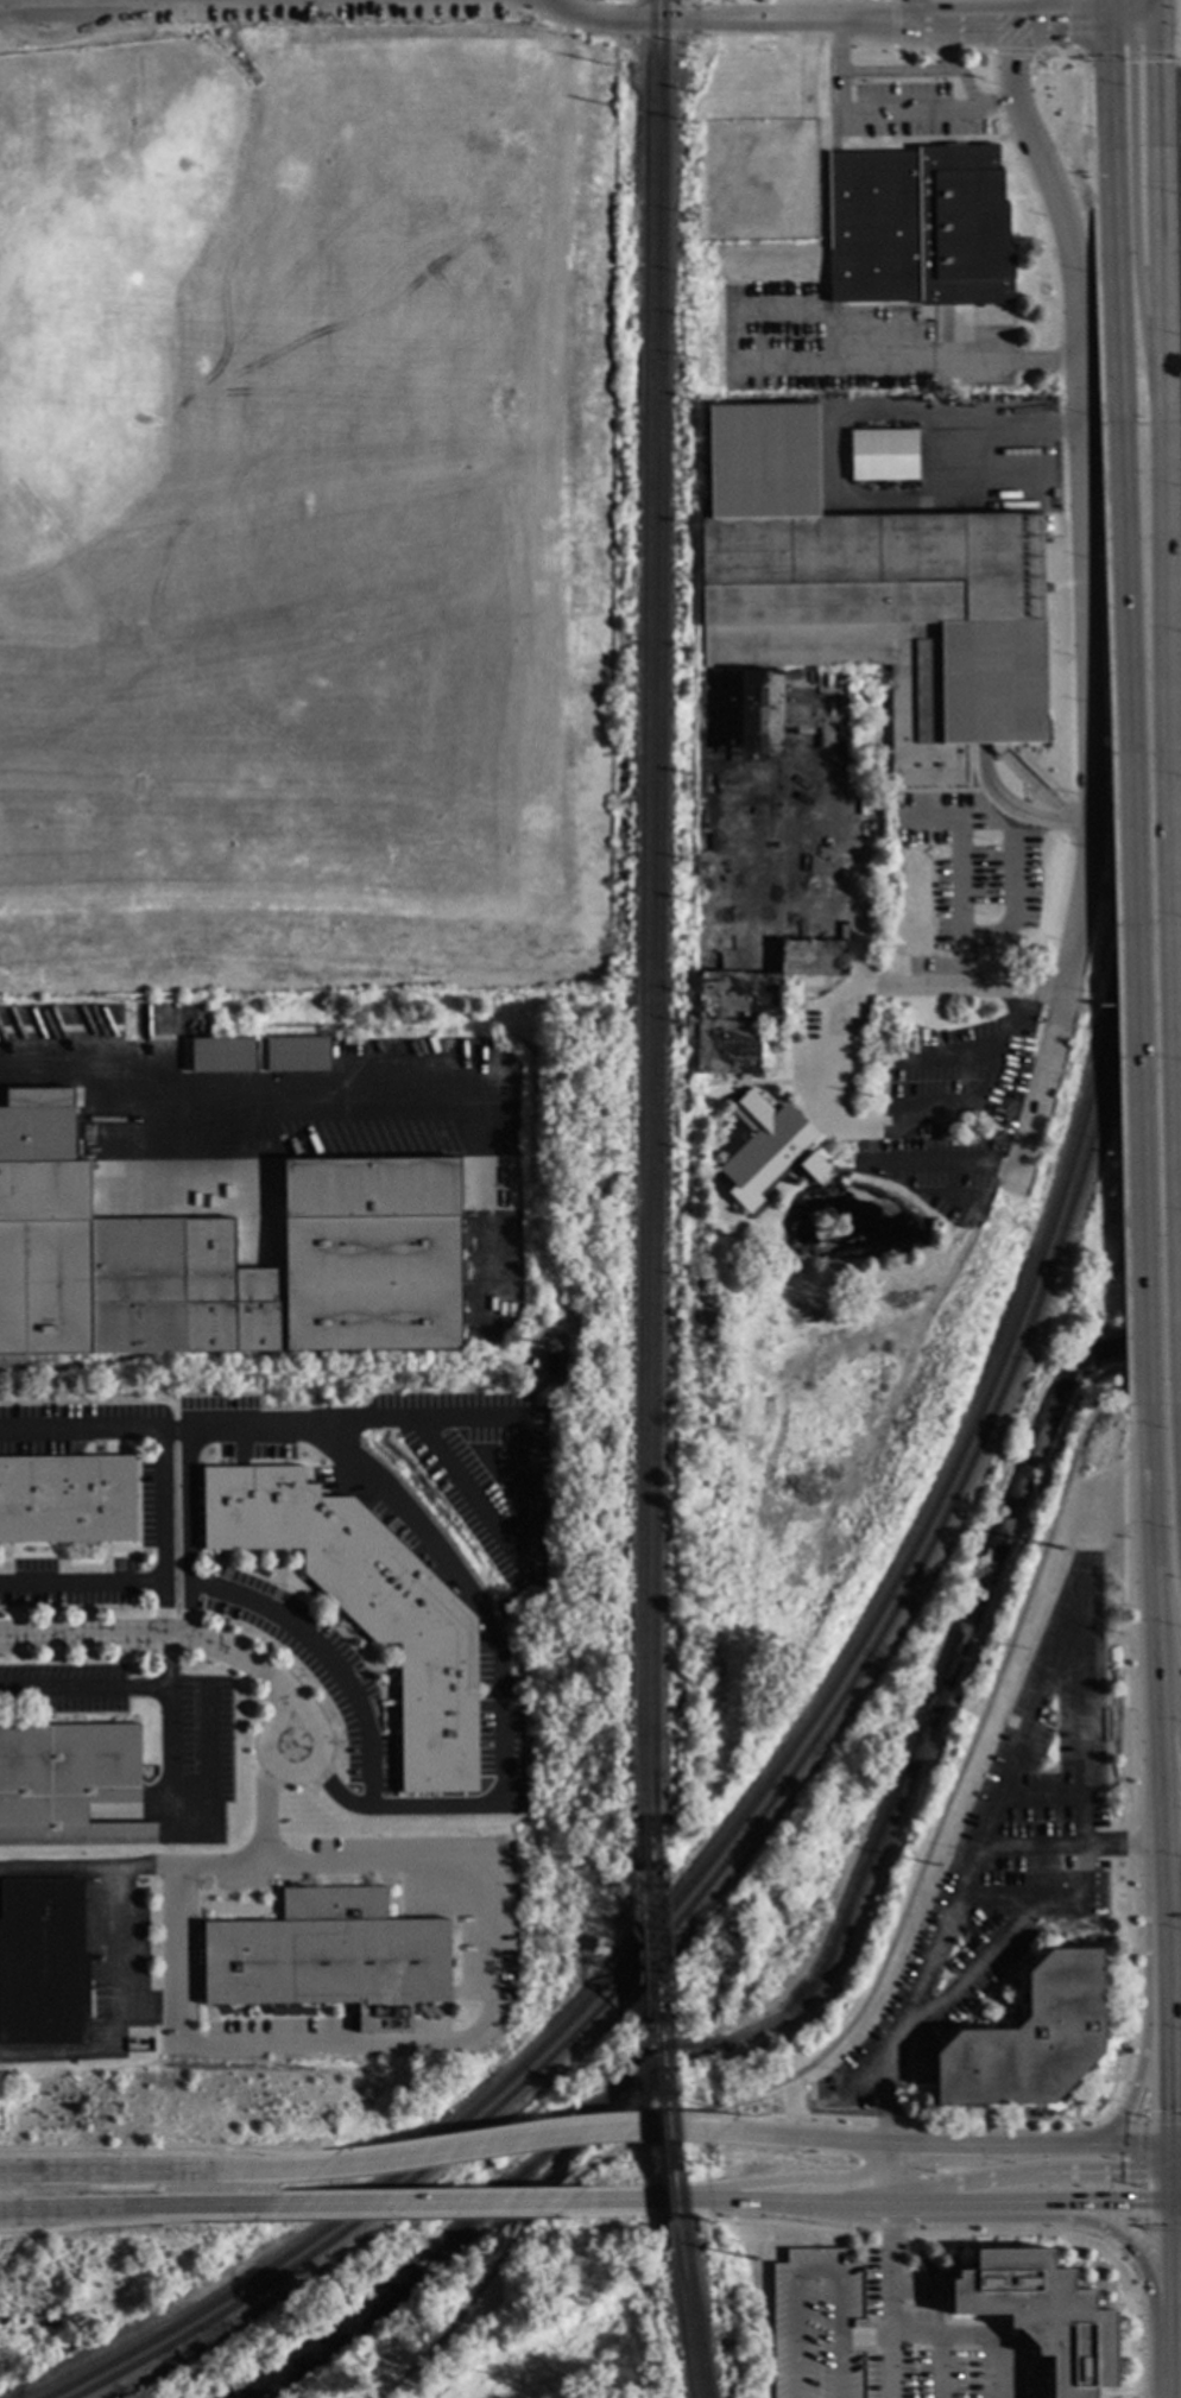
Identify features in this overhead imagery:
road: (1157, 10)
road: (908, 11)
road: (1107, 11)
road: (1143, 12)
road: (807, 20)
road: (1133, 20)
traffic signals: (1158, 20)
road: (627, 21)
road: (1009, 21)
traffic signals: (1109, 21)
road: (1073, 26)
road: (1128, 56)
road: (1010, 61)
road: (924, 74)
road: (1003, 103)
road: (1085, 108)
road: (870, 114)
road: (1175, 210)
road: (1133, 211)
road: (1114, 221)
road: (1161, 221)
building: (918, 229)
road: (1097, 316)
road: (910, 366)
road: (966, 417)
building: (882, 457)
road: (1180, 487)
road: (1085, 639)
building: (966, 715)
road: (1173, 880)
road: (1012, 886)
railway: (663, 907)
railway: (650, 909)
road: (1113, 915)
road: (1133, 915)
road: (859, 983)
building: (295, 1056)
building: (220, 1057)
road: (948, 1059)
road: (974, 1095)
building: (766, 1151)
road: (939, 1175)
building: (221, 1259)
building: (550, 1367)
road: (524, 1459)
building: (65, 1501)
road: (160, 1533)
power tower: (1059, 1549)
road: (443, 1567)
road: (81, 1587)
building: (364, 1607)
road: (266, 1613)
road: (191, 1614)
railway: (507, 1618)
road: (1154, 1625)
road: (175, 1634)
railway: (855, 1654)
road: (166, 1660)
road: (1168, 1664)
road: (83, 1689)
railway: (847, 1692)
park: (911, 1728)
road: (1022, 1752)
road: (1124, 1755)
building: (68, 1784)
road: (1150, 1792)
road: (1043, 1801)
road: (1084, 1824)
road: (1152, 1845)
road: (1114, 1846)
road: (1034, 1848)
parking lot: (1008, 1852)
road: (248, 1864)
power tower: (934, 1866)
road: (55, 1871)
road: (997, 1905)
building: (329, 1960)
road: (884, 1962)
building: (42, 1964)
road: (970, 1973)
road: (1162, 1994)
road: (1144, 2006)
road: (110, 2017)
railway: (672, 2018)
railway: (663, 2019)
building: (1030, 2039)
road: (440, 2042)
park: (599, 2074)
road: (1125, 2112)
traffic signals: (1166, 2112)
road: (1161, 2121)
road: (930, 2122)
road: (528, 2125)
road: (813, 2139)
road: (516, 2141)
road: (1174, 2143)
road: (930, 2145)
road: (1125, 2145)
road: (1029, 2146)
road: (157, 2149)
road: (1174, 2152)
road: (1167, 2158)
road: (1174, 2170)
traffic signals: (1124, 2172)
road: (1142, 2172)
road: (145, 2174)
road: (885, 2174)
road: (1024, 2175)
road: (795, 2179)
road: (1167, 2187)
road: (1174, 2197)
road: (708, 2200)
road: (1174, 2201)
road: (462, 2202)
road: (820, 2202)
road: (1109, 2202)
traffic signals: (1132, 2202)
road: (968, 2203)
road: (132, 2206)
road: (885, 2212)
road: (820, 2214)
road: (460, 2217)
road: (1061, 2221)
road: (130, 2222)
road: (1161, 2225)
road: (888, 2234)
road: (1128, 2239)
power tower: (751, 2261)
road: (1167, 2270)
park: (90, 2293)
railway: (688, 2309)
railway: (699, 2309)
road: (890, 2309)
building: (1044, 2315)
park: (453, 2318)
road: (1137, 2322)
building: (817, 2326)
parking lot: (817, 2326)
road: (967, 2336)
road: (876, 2337)
parking lot: (907, 2343)
road: (940, 2367)
road: (1168, 2368)
power tower: (522, 2380)

